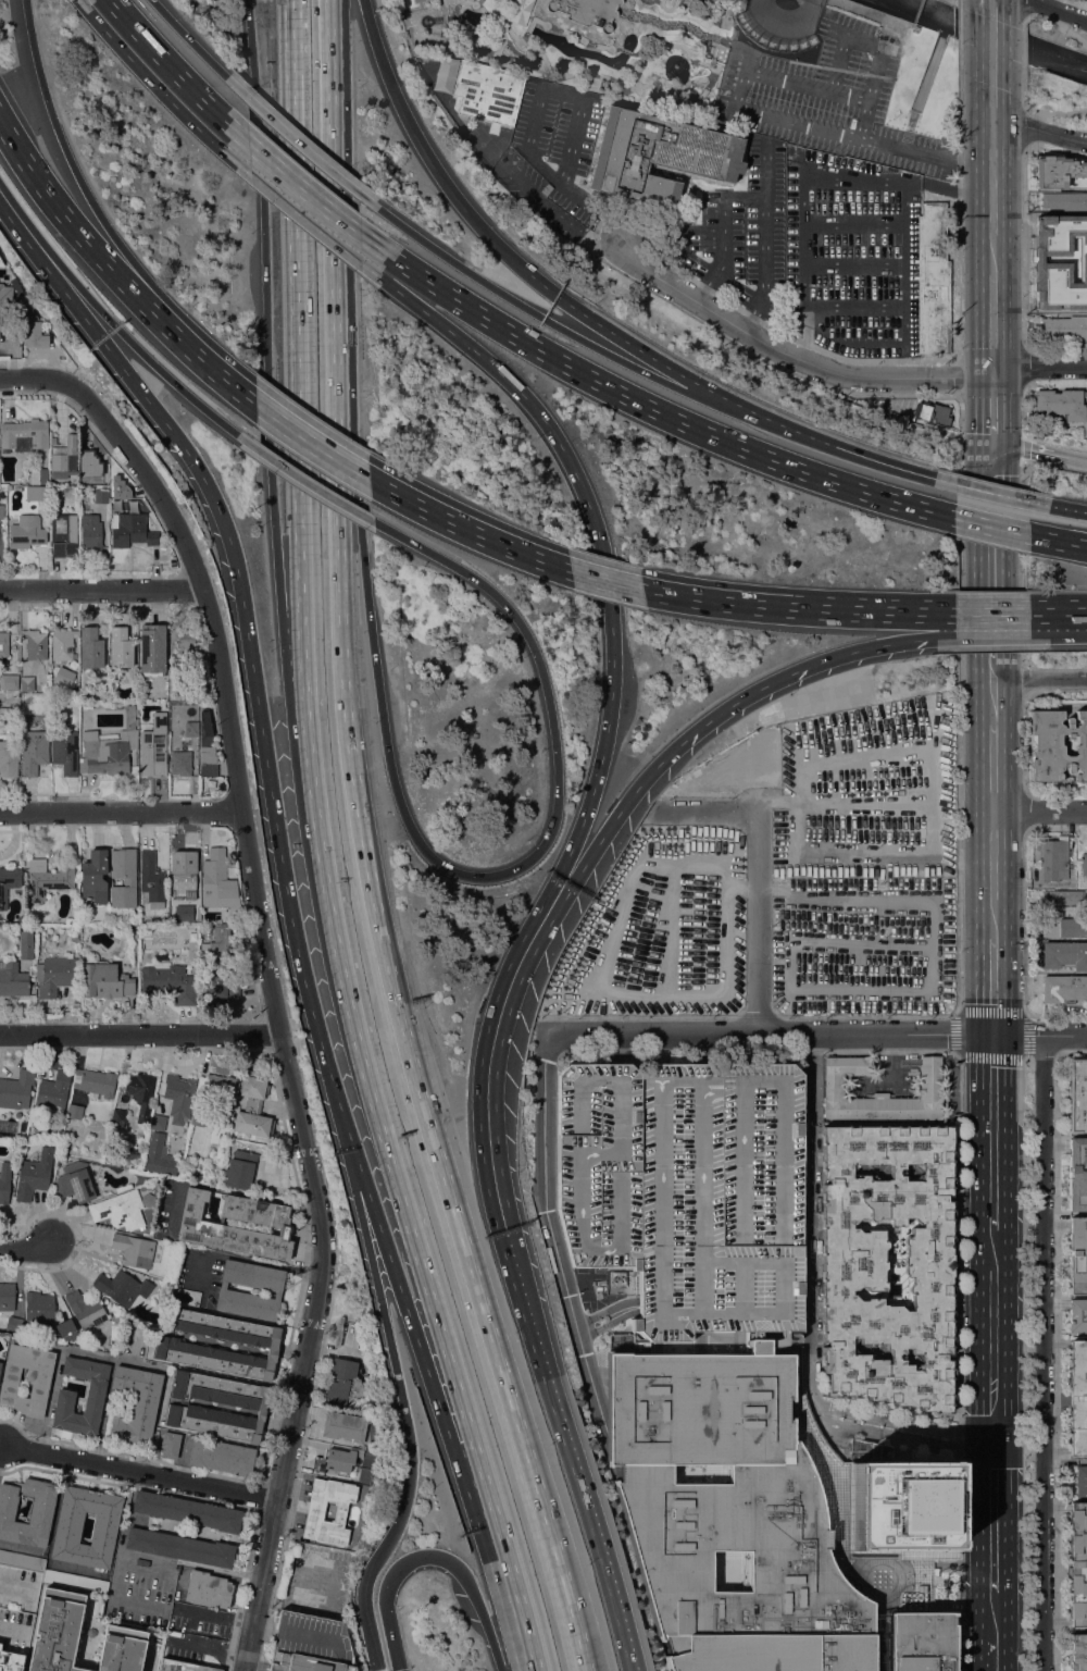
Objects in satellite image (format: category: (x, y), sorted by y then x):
road: (958, 3)
road: (1039, 3)
building: (741, 4)
road: (83, 7)
road: (364, 8)
road: (1022, 9)
road: (990, 10)
building: (520, 11)
building: (587, 11)
road: (915, 11)
road: (1038, 15)
road: (959, 23)
building: (734, 33)
road: (990, 35)
river: (991, 35)
road: (1076, 36)
road: (287, 37)
road: (186, 38)
park: (589, 44)
road: (1023, 47)
road: (170, 62)
road: (36, 64)
road: (929, 64)
road: (151, 82)
road: (990, 87)
road: (1023, 87)
building: (487, 91)
road: (563, 94)
parking lot: (829, 98)
road: (736, 104)
road: (1055, 111)
road: (534, 116)
road: (404, 119)
road: (909, 127)
road: (1023, 129)
road: (1039, 131)
road: (298, 143)
building: (659, 154)
road: (543, 161)
building: (1058, 170)
building: (886, 172)
road: (562, 180)
road: (848, 181)
road: (310, 193)
road: (744, 196)
road: (958, 198)
road: (991, 198)
building: (1064, 200)
road: (724, 212)
road: (299, 215)
road: (332, 215)
building: (1062, 227)
road: (493, 244)
road: (1023, 247)
road: (724, 249)
road: (674, 255)
road: (764, 263)
building: (1062, 263)
road: (109, 264)
road: (264, 265)
road: (136, 268)
road: (462, 268)
road: (65, 272)
building: (932, 280)
building: (1061, 293)
building: (4, 302)
road: (991, 322)
building: (1063, 327)
road: (605, 330)
building: (33, 331)
road: (292, 341)
road: (847, 342)
road: (620, 351)
road: (789, 351)
road: (1023, 366)
road: (1038, 368)
road: (37, 376)
road: (190, 397)
road: (248, 398)
building: (1060, 404)
road: (991, 408)
road: (1023, 409)
road: (662, 410)
building: (934, 413)
building: (915, 422)
building: (930, 426)
building: (24, 435)
road: (809, 435)
building: (53, 440)
road: (311, 443)
traffic signals: (991, 444)
road: (1023, 446)
road: (1039, 450)
building: (64, 458)
building: (90, 462)
road: (309, 484)
building: (120, 490)
road: (985, 490)
road: (348, 492)
building: (36, 493)
building: (101, 495)
road: (1060, 507)
building: (1, 511)
road: (990, 525)
road: (468, 527)
building: (90, 530)
building: (130, 530)
building: (26, 532)
building: (63, 534)
road: (1059, 541)
road: (604, 555)
road: (1022, 562)
road: (286, 570)
road: (608, 579)
road: (991, 586)
road: (101, 589)
road: (790, 607)
road: (994, 611)
road: (1069, 611)
road: (907, 627)
building: (182, 642)
building: (4, 644)
road: (300, 644)
building: (62, 645)
building: (90, 647)
building: (120, 647)
building: (153, 648)
road: (248, 648)
building: (37, 652)
building: (63, 677)
road: (1039, 677)
road: (1022, 681)
building: (27, 683)
building: (10, 685)
building: (187, 685)
building: (53, 688)
road: (724, 703)
building: (112, 707)
building: (9, 713)
building: (191, 728)
road: (1023, 744)
building: (1055, 745)
building: (207, 746)
building: (110, 747)
building: (34, 751)
building: (64, 751)
building: (152, 753)
building: (9, 756)
building: (180, 763)
road: (991, 770)
road: (120, 809)
road: (1024, 810)
road: (1039, 810)
road: (710, 813)
road: (530, 857)
road: (574, 862)
building: (1072, 862)
building: (1055, 863)
building: (1084, 863)
road: (958, 864)
road: (927, 866)
building: (184, 872)
road: (991, 875)
building: (95, 876)
building: (151, 879)
building: (48, 880)
building: (129, 881)
building: (218, 882)
building: (8, 883)
building: (1062, 896)
building: (184, 913)
building: (203, 917)
road: (758, 924)
building: (1063, 925)
building: (192, 931)
building: (26, 944)
building: (216, 950)
building: (728, 952)
road: (1024, 953)
building: (1064, 954)
building: (57, 975)
building: (12, 979)
building: (103, 980)
building: (721, 981)
building: (168, 983)
road: (991, 986)
building: (220, 988)
building: (1063, 988)
building: (39, 1011)
road: (276, 1011)
road: (140, 1030)
road: (817, 1033)
traffic signals: (991, 1035)
road: (659, 1048)
road: (615, 1049)
road: (958, 1053)
road: (1041, 1053)
road: (410, 1061)
road: (480, 1064)
road: (634, 1080)
road: (647, 1080)
road: (758, 1080)
building: (95, 1082)
building: (118, 1082)
road: (577, 1084)
road: (709, 1086)
road: (721, 1086)
building: (838, 1087)
building: (16, 1089)
building: (52, 1091)
building: (220, 1091)
road: (370, 1091)
building: (140, 1092)
building: (1077, 1094)
building: (178, 1096)
building: (252, 1106)
building: (74, 1111)
road: (615, 1112)
building: (117, 1116)
building: (198, 1117)
building: (158, 1122)
road: (991, 1130)
road: (577, 1137)
building: (245, 1147)
building: (133, 1152)
building: (159, 1155)
building: (218, 1167)
building: (240, 1168)
road: (615, 1168)
building: (1077, 1173)
building: (34, 1174)
building: (74, 1181)
building: (4, 1187)
building: (686, 1189)
parking garage: (686, 1189)
road: (614, 1196)
building: (148, 1199)
road: (578, 1200)
building: (120, 1210)
road: (811, 1217)
building: (270, 1222)
road: (378, 1226)
road: (360, 1228)
road: (551, 1236)
road: (738, 1247)
road: (26, 1248)
road: (779, 1248)
building: (134, 1249)
building: (1077, 1253)
road: (246, 1259)
building: (852, 1271)
building: (122, 1287)
road: (738, 1287)
road: (782, 1287)
building: (224, 1289)
building: (7, 1296)
building: (38, 1309)
building: (86, 1311)
road: (658, 1311)
building: (1077, 1314)
road: (608, 1315)
building: (116, 1319)
building: (13, 1324)
building: (66, 1329)
building: (136, 1334)
road: (991, 1334)
building: (180, 1345)
road: (1042, 1352)
road: (1055, 1361)
road: (957, 1363)
building: (0, 1364)
building: (26, 1378)
building: (345, 1384)
building: (1077, 1397)
road: (436, 1399)
building: (64, 1400)
building: (135, 1403)
building: (250, 1406)
road: (901, 1421)
building: (345, 1426)
road: (896, 1437)
traffic signals: (990, 1440)
building: (170, 1444)
road: (564, 1452)
building: (222, 1456)
building: (366, 1459)
road: (408, 1459)
building: (334, 1461)
road: (141, 1473)
building: (1080, 1481)
building: (723, 1497)
parking lot: (723, 1497)
building: (901, 1505)
building: (41, 1508)
building: (315, 1509)
building: (187, 1511)
road: (991, 1513)
building: (67, 1527)
road: (249, 1543)
building: (179, 1547)
road: (147, 1557)
building: (22, 1560)
building: (142, 1562)
building: (1078, 1562)
road: (402, 1563)
building: (75, 1581)
road: (508, 1582)
building: (208, 1588)
road: (992, 1606)
road: (174, 1624)
building: (57, 1631)
building: (92, 1632)
road: (370, 1639)
road: (491, 1644)
building: (0, 1645)
building: (309, 1645)
building: (827, 1647)
building: (122, 1648)
road: (991, 1648)
building: (1078, 1651)
building: (10, 1661)
building: (182, 1666)
traffic signals: (398, 1668)
road: (398, 1669)

